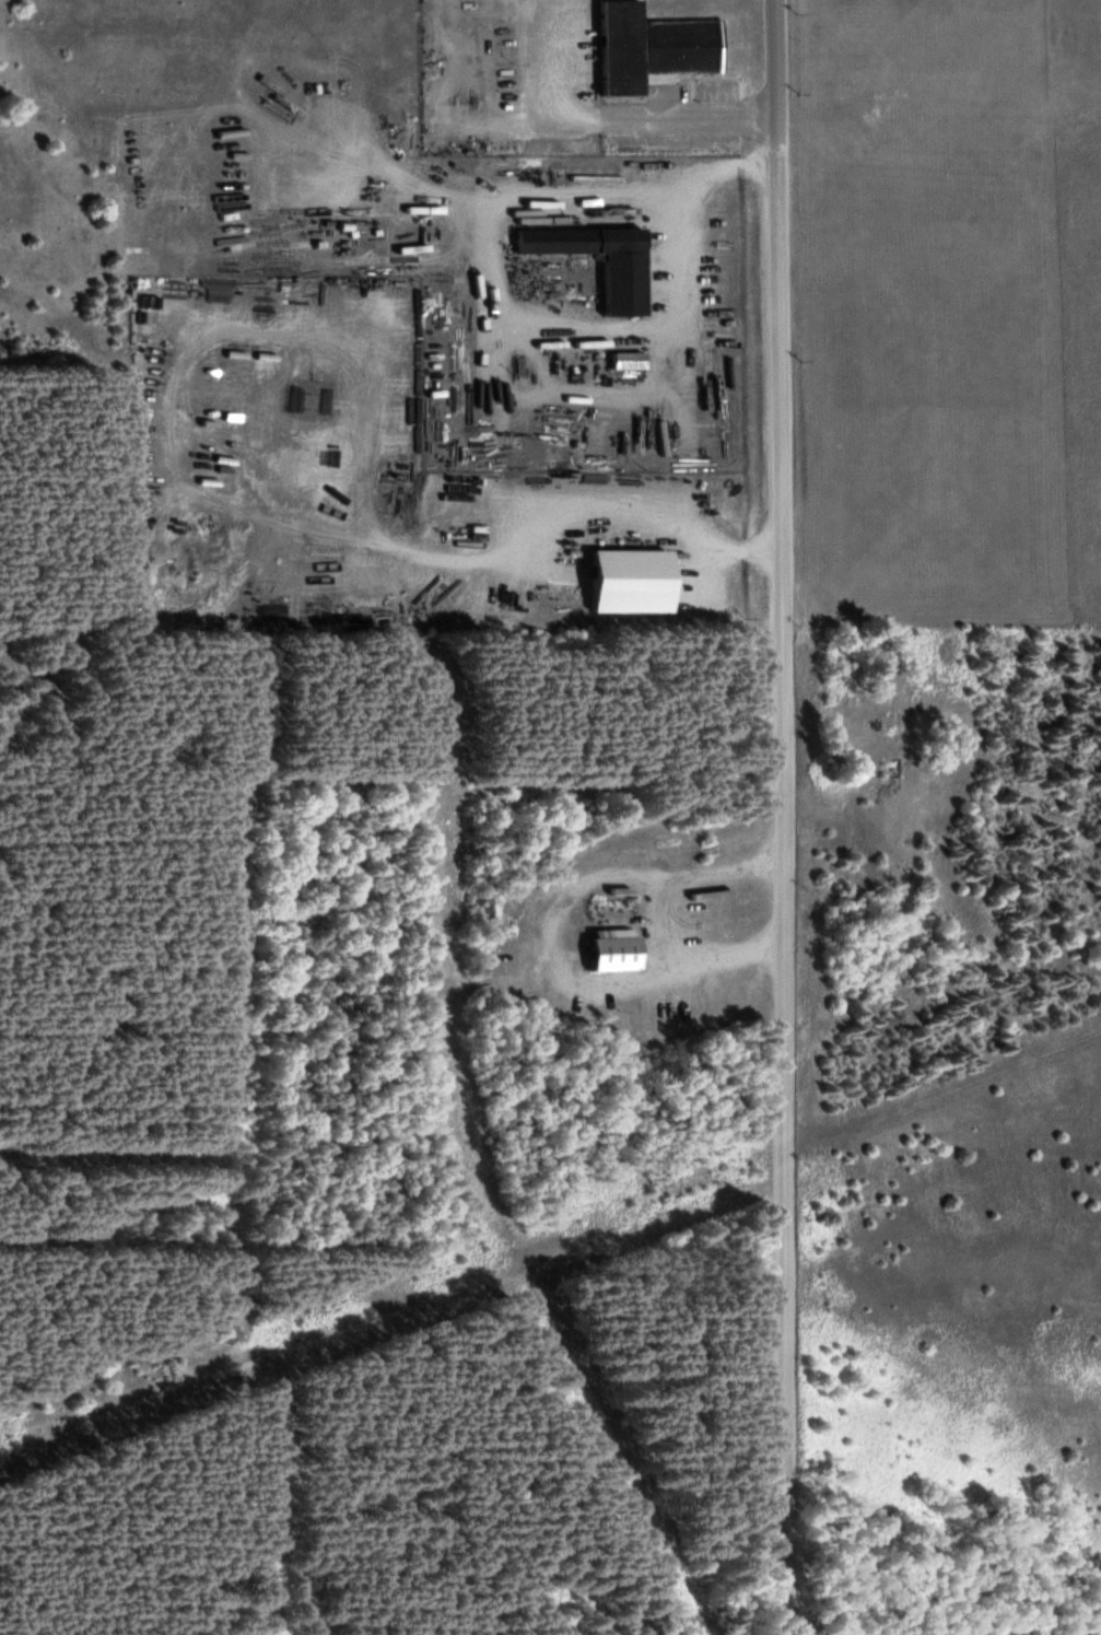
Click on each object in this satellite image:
building: (648, 48)
building: (622, 285)
building: (625, 361)
building: (625, 582)
road: (781, 817)
building: (607, 951)

